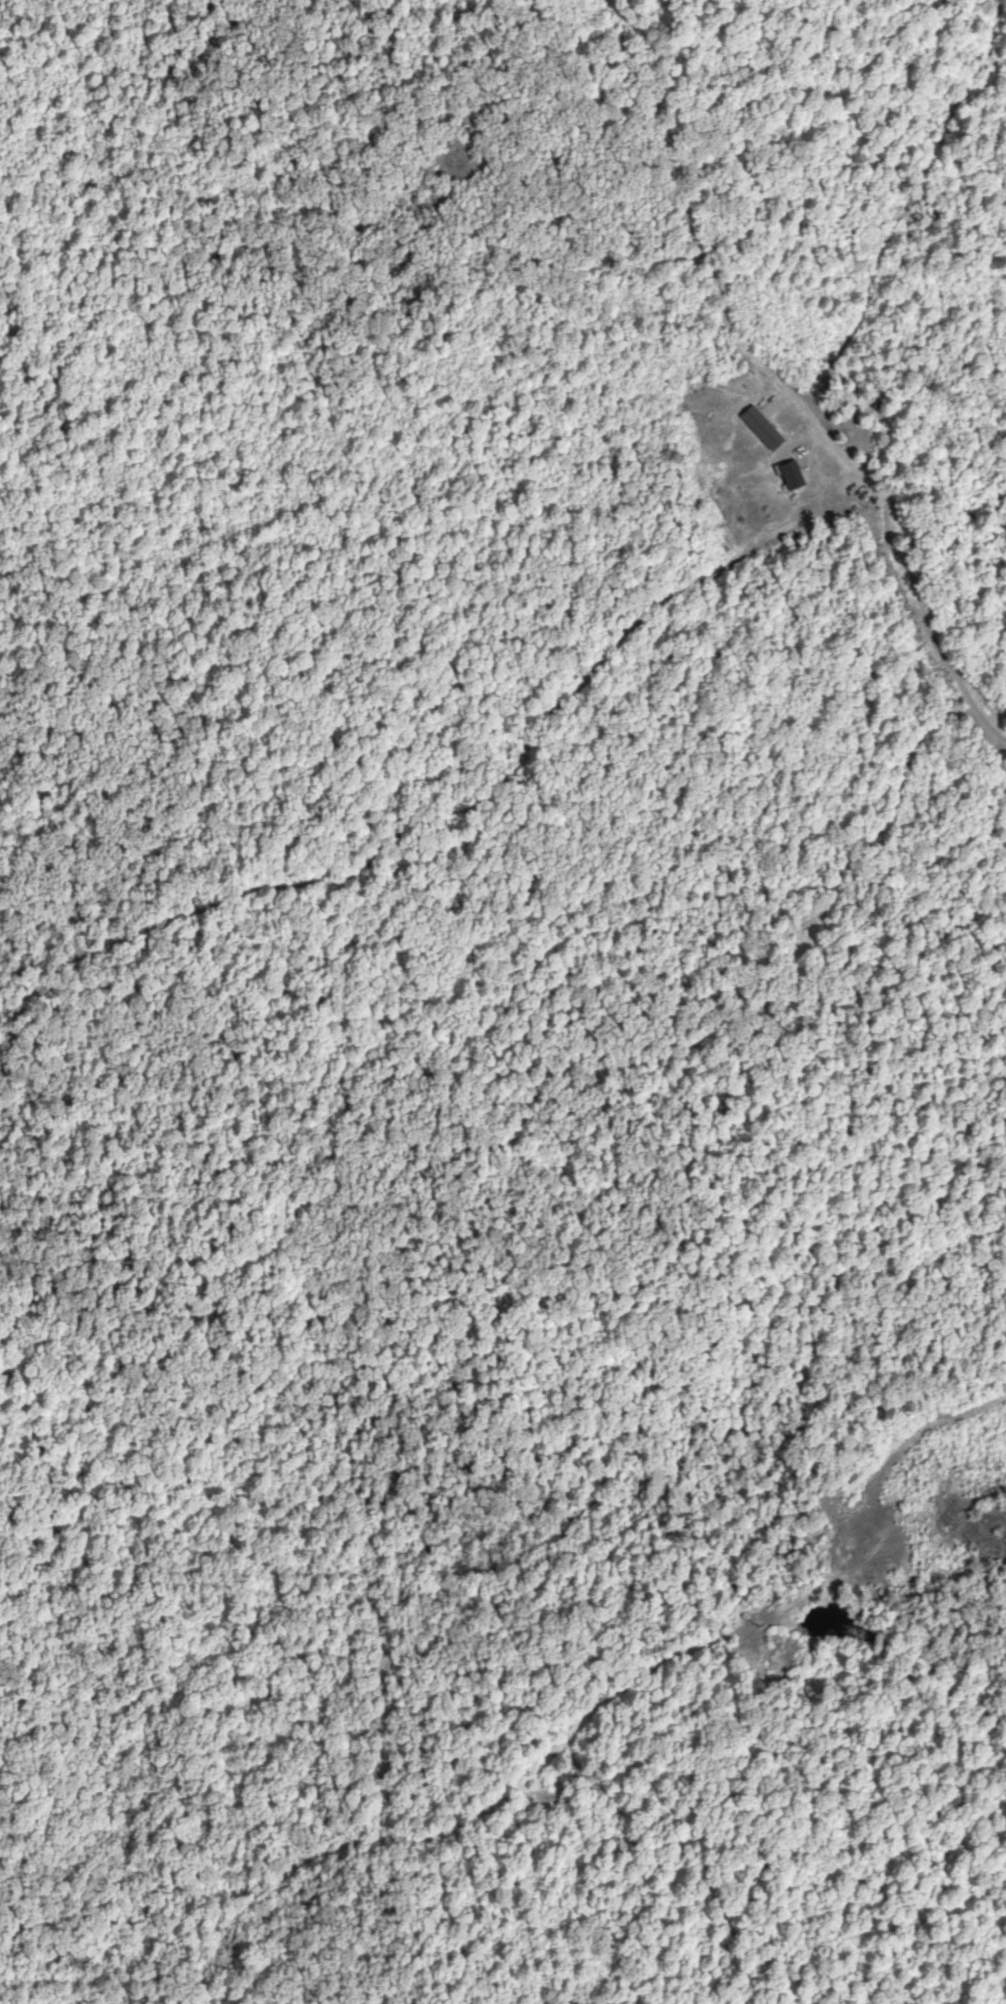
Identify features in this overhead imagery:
building: (761, 428)
building: (791, 474)

